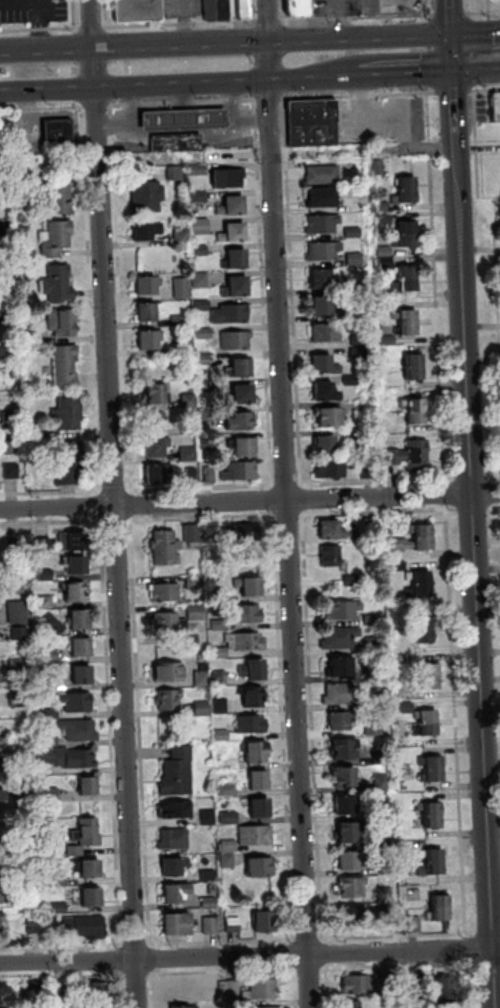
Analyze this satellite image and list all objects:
parking lot: (181, 7)
road: (183, 7)
building: (300, 7)
traffic signals: (449, 7)
building: (243, 9)
road: (490, 9)
building: (136, 10)
building: (214, 10)
road: (281, 10)
parking lot: (35, 11)
road: (433, 11)
road: (46, 12)
road: (252, 12)
road: (79, 13)
road: (105, 13)
road: (479, 13)
road: (15, 14)
road: (453, 14)
road: (359, 17)
road: (449, 17)
road: (342, 18)
road: (224, 20)
road: (268, 20)
road: (184, 22)
road: (139, 24)
road: (92, 26)
road: (41, 28)
road: (184, 29)
road: (42, 30)
road: (254, 33)
traffic signals: (450, 34)
road: (475, 34)
traffic signals: (498, 34)
road: (432, 35)
road: (487, 38)
road: (224, 41)
road: (429, 52)
road: (452, 54)
road: (483, 60)
road: (426, 71)
road: (476, 71)
road: (484, 73)
traffic signals: (454, 74)
road: (407, 76)
road: (180, 85)
road: (486, 87)
road: (474, 90)
road: (455, 91)
road: (232, 94)
road: (361, 94)
road: (184, 95)
road: (271, 98)
road: (135, 103)
road: (184, 103)
building: (496, 104)
road: (98, 106)
road: (189, 106)
road: (42, 108)
building: (185, 117)
building: (314, 121)
road: (457, 127)
road: (182, 129)
building: (59, 130)
building: (178, 142)
road: (239, 153)
building: (376, 165)
building: (4, 167)
building: (199, 169)
building: (320, 172)
building: (177, 173)
building: (229, 176)
building: (25, 177)
building: (405, 188)
road: (480, 188)
building: (3, 194)
building: (148, 195)
building: (320, 195)
building: (199, 196)
building: (62, 199)
building: (234, 203)
building: (354, 203)
building: (380, 205)
building: (382, 218)
building: (321, 222)
building: (203, 226)
building: (5, 227)
building: (149, 229)
building: (351, 230)
building: (234, 231)
building: (405, 231)
building: (183, 236)
building: (57, 237)
building: (202, 249)
building: (322, 249)
building: (383, 251)
building: (353, 256)
building: (238, 257)
building: (384, 259)
building: (322, 277)
building: (404, 277)
building: (202, 279)
building: (59, 283)
building: (147, 283)
building: (237, 285)
road: (434, 285)
building: (351, 286)
building: (183, 287)
building: (6, 290)
road: (294, 291)
road: (265, 294)
road: (93, 298)
road: (121, 300)
building: (204, 304)
building: (321, 306)
building: (148, 310)
building: (232, 313)
building: (182, 320)
building: (406, 320)
building: (63, 321)
building: (324, 331)
building: (205, 332)
building: (33, 336)
building: (357, 338)
building: (385, 338)
building: (150, 339)
building: (236, 339)
building: (186, 345)
building: (7, 353)
building: (383, 356)
building: (204, 359)
building: (322, 363)
building: (412, 365)
building: (67, 366)
building: (243, 366)
building: (350, 377)
building: (206, 385)
building: (322, 390)
building: (160, 392)
building: (244, 392)
building: (190, 400)
building: (414, 409)
building: (70, 412)
building: (208, 414)
building: (326, 415)
building: (11, 416)
building: (153, 420)
building: (240, 420)
building: (190, 428)
building: (40, 432)
building: (362, 438)
building: (323, 442)
building: (208, 444)
building: (11, 445)
building: (157, 445)
building: (245, 446)
building: (416, 452)
building: (190, 453)
building: (393, 455)
building: (70, 461)
building: (328, 467)
building: (365, 469)
building: (13, 470)
building: (241, 470)
building: (159, 472)
building: (211, 474)
building: (193, 475)
road: (473, 478)
road: (495, 478)
road: (379, 482)
road: (288, 485)
road: (202, 487)
road: (116, 490)
road: (52, 492)
road: (443, 494)
road: (303, 499)
road: (274, 500)
road: (250, 501)
road: (115, 503)
road: (288, 504)
road: (132, 505)
road: (94, 506)
road: (495, 507)
road: (475, 509)
road: (373, 511)
road: (453, 512)
road: (290, 514)
road: (204, 517)
road: (116, 520)
road: (51, 522)
building: (367, 524)
building: (329, 528)
building: (194, 533)
building: (236, 533)
building: (397, 538)
building: (73, 540)
building: (40, 542)
building: (17, 546)
building: (165, 546)
building: (328, 554)
building: (396, 562)
building: (75, 563)
building: (42, 573)
building: (350, 578)
building: (195, 582)
building: (419, 582)
building: (251, 586)
building: (19, 587)
building: (74, 590)
building: (167, 592)
building: (219, 595)
road: (478, 595)
building: (45, 599)
building: (197, 608)
building: (339, 608)
building: (16, 610)
building: (248, 613)
building: (78, 618)
building: (167, 621)
building: (220, 625)
building: (422, 629)
building: (17, 631)
building: (338, 636)
building: (397, 639)
building: (246, 641)
building: (368, 641)
building: (79, 645)
building: (219, 652)
building: (47, 654)
building: (205, 657)
building: (339, 665)
building: (21, 666)
building: (256, 669)
building: (170, 671)
building: (403, 671)
building: (79, 672)
building: (428, 674)
building: (204, 676)
building: (221, 678)
building: (50, 682)
building: (339, 691)
building: (219, 695)
building: (255, 696)
building: (19, 698)
building: (170, 698)
building: (74, 700)
building: (222, 706)
building: (403, 706)
building: (204, 707)
building: (28, 710)
building: (46, 712)
building: (337, 719)
building: (426, 721)
road: (456, 721)
building: (252, 724)
building: (372, 726)
road: (285, 727)
building: (77, 728)
road: (141, 732)
road: (113, 733)
building: (223, 735)
building: (0, 737)
building: (1, 740)
building: (342, 747)
building: (258, 751)
building: (64, 754)
building: (27, 756)
building: (376, 756)
building: (431, 768)
building: (179, 772)
building: (342, 775)
building: (259, 779)
building: (380, 780)
building: (86, 784)
building: (29, 789)
building: (228, 789)
building: (1, 793)
building: (52, 795)
road: (317, 803)
building: (342, 803)
building: (262, 807)
building: (178, 809)
building: (379, 810)
building: (430, 813)
building: (209, 817)
building: (230, 817)
building: (345, 831)
building: (256, 835)
building: (87, 836)
building: (175, 839)
building: (230, 846)
building: (346, 858)
building: (228, 860)
building: (429, 860)
building: (175, 866)
building: (88, 867)
building: (260, 867)
building: (381, 867)
building: (2, 868)
building: (209, 875)
building: (61, 881)
building: (349, 886)
building: (213, 888)
building: (176, 892)
building: (384, 892)
building: (4, 893)
building: (89, 896)
building: (210, 902)
building: (438, 905)
building: (1, 914)
building: (349, 914)
building: (0, 921)
building: (265, 921)
building: (412, 922)
building: (34, 923)
building: (233, 924)
building: (178, 925)
building: (211, 925)
building: (86, 926)
road: (489, 933)
road: (309, 940)
road: (322, 940)
road: (223, 942)
road: (331, 942)
road: (136, 945)
road: (61, 948)
road: (469, 948)
road: (332, 953)
road: (296, 955)
road: (497, 955)
road: (247, 956)
road: (123, 958)
road: (153, 960)
road: (333, 965)
road: (395, 965)
road: (310, 969)
road: (259, 970)
road: (214, 972)
road: (179, 973)
road: (138, 974)
road: (62, 977)
building: (419, 977)
building: (367, 982)
road: (469, 983)
road: (297, 987)
building: (234, 988)
building: (265, 988)
road: (326, 988)
building: (4, 989)
building: (37, 989)
road: (123, 989)
building: (446, 989)
road: (154, 990)
building: (100, 992)
building: (63, 993)
building: (238, 1005)
building: (354, 1005)
building: (98, 1007)
building: (183, 1007)
building: (271, 1007)

